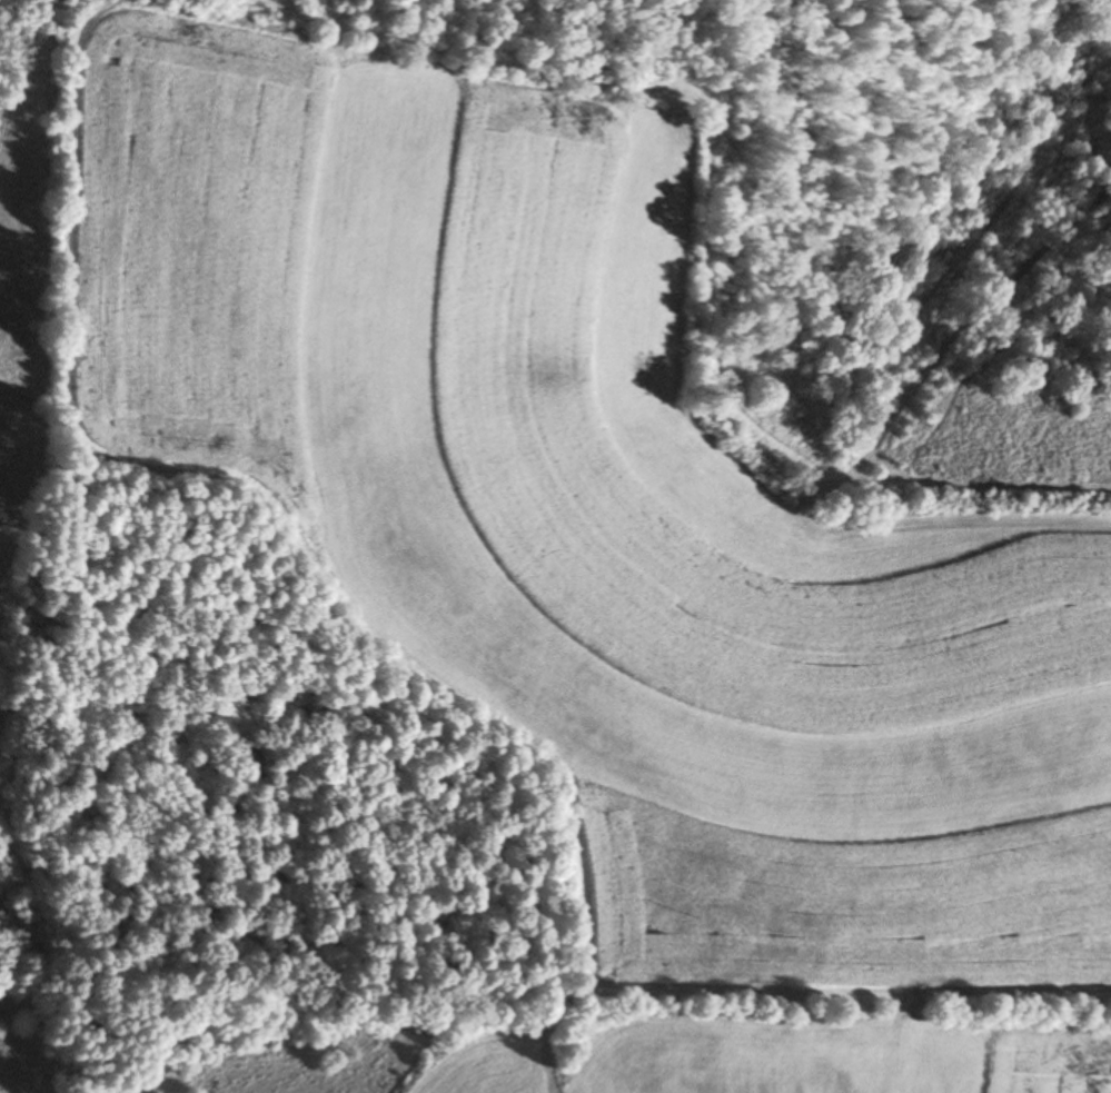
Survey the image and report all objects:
crop: (584, 516)
crop: (485, 1064)

